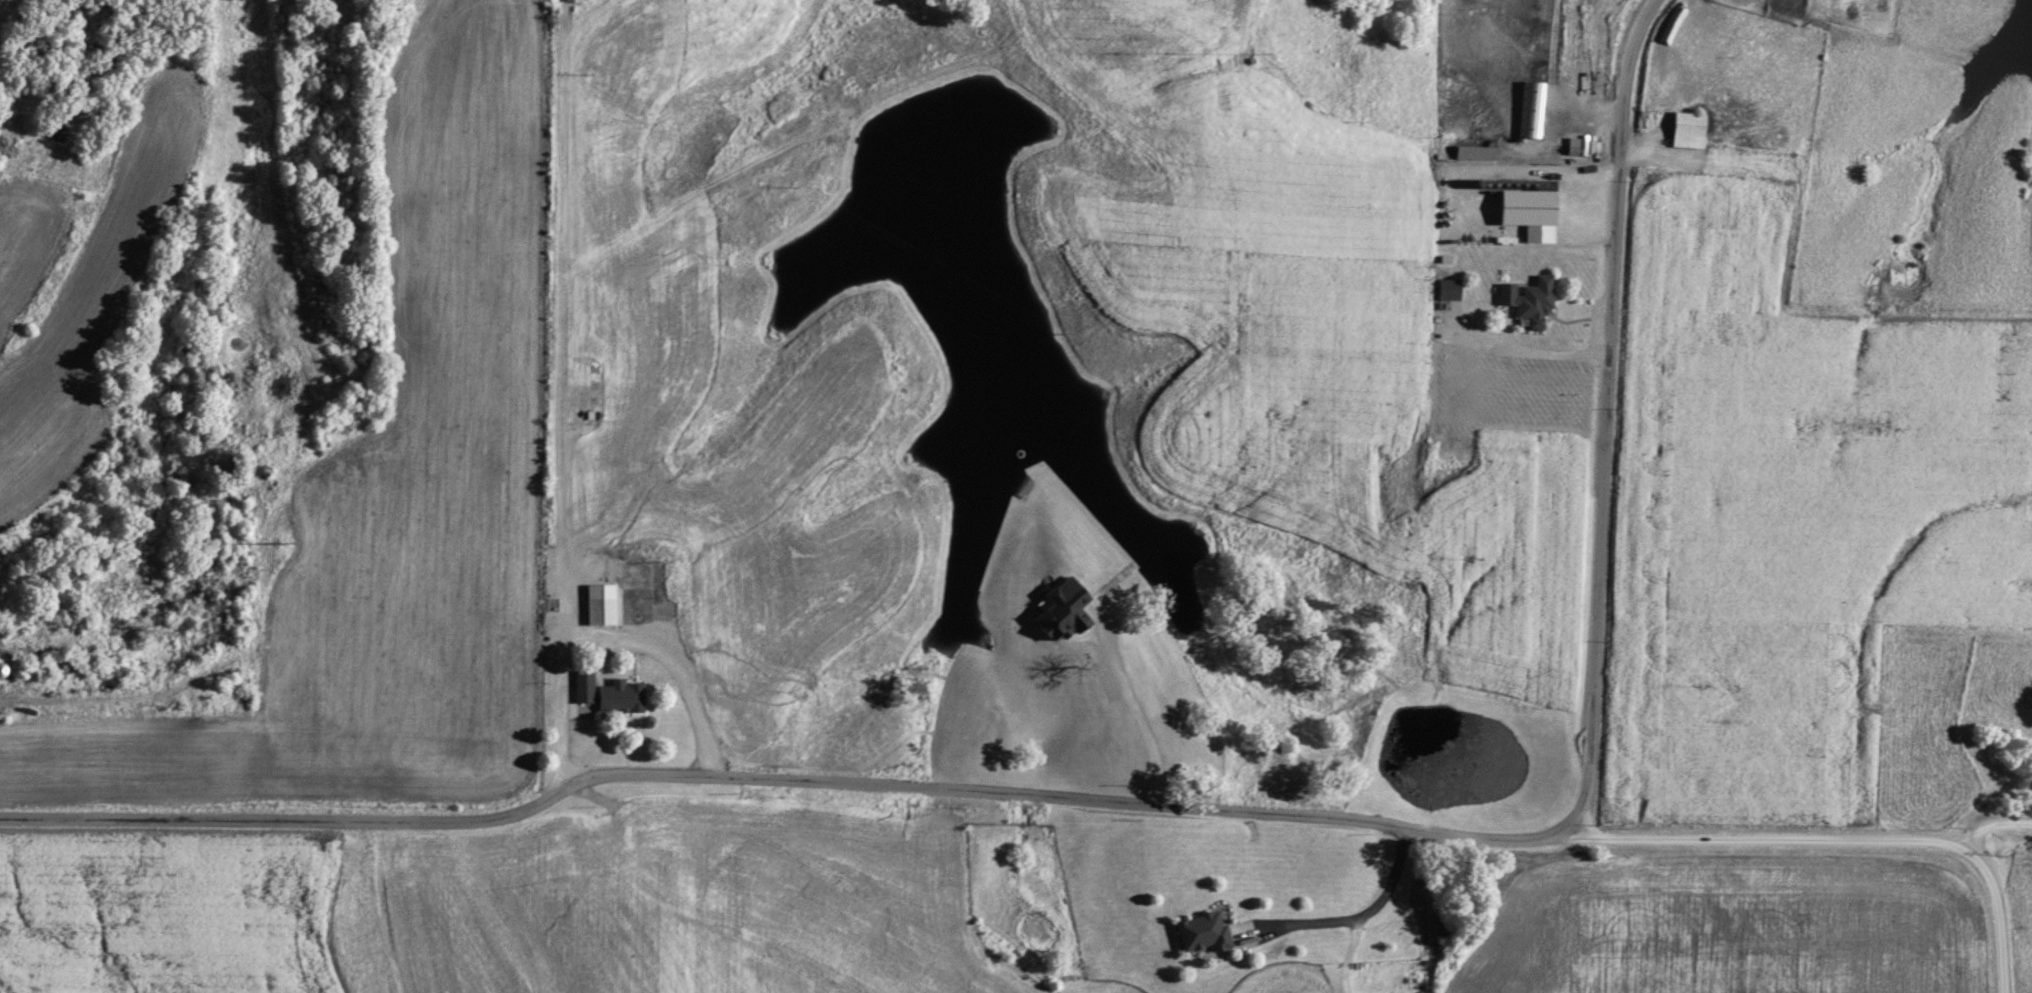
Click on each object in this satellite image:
building: (1531, 108)
building: (1686, 128)
building: (1571, 144)
building: (1474, 151)
building: (1527, 207)
building: (1448, 287)
building: (1528, 296)
road: (555, 391)
building: (598, 601)
building: (1059, 608)
road: (670, 656)
building: (607, 690)
road: (1200, 806)
road: (1993, 818)
road: (1851, 835)
road: (1349, 915)
building: (1200, 930)
road: (1347, 953)

